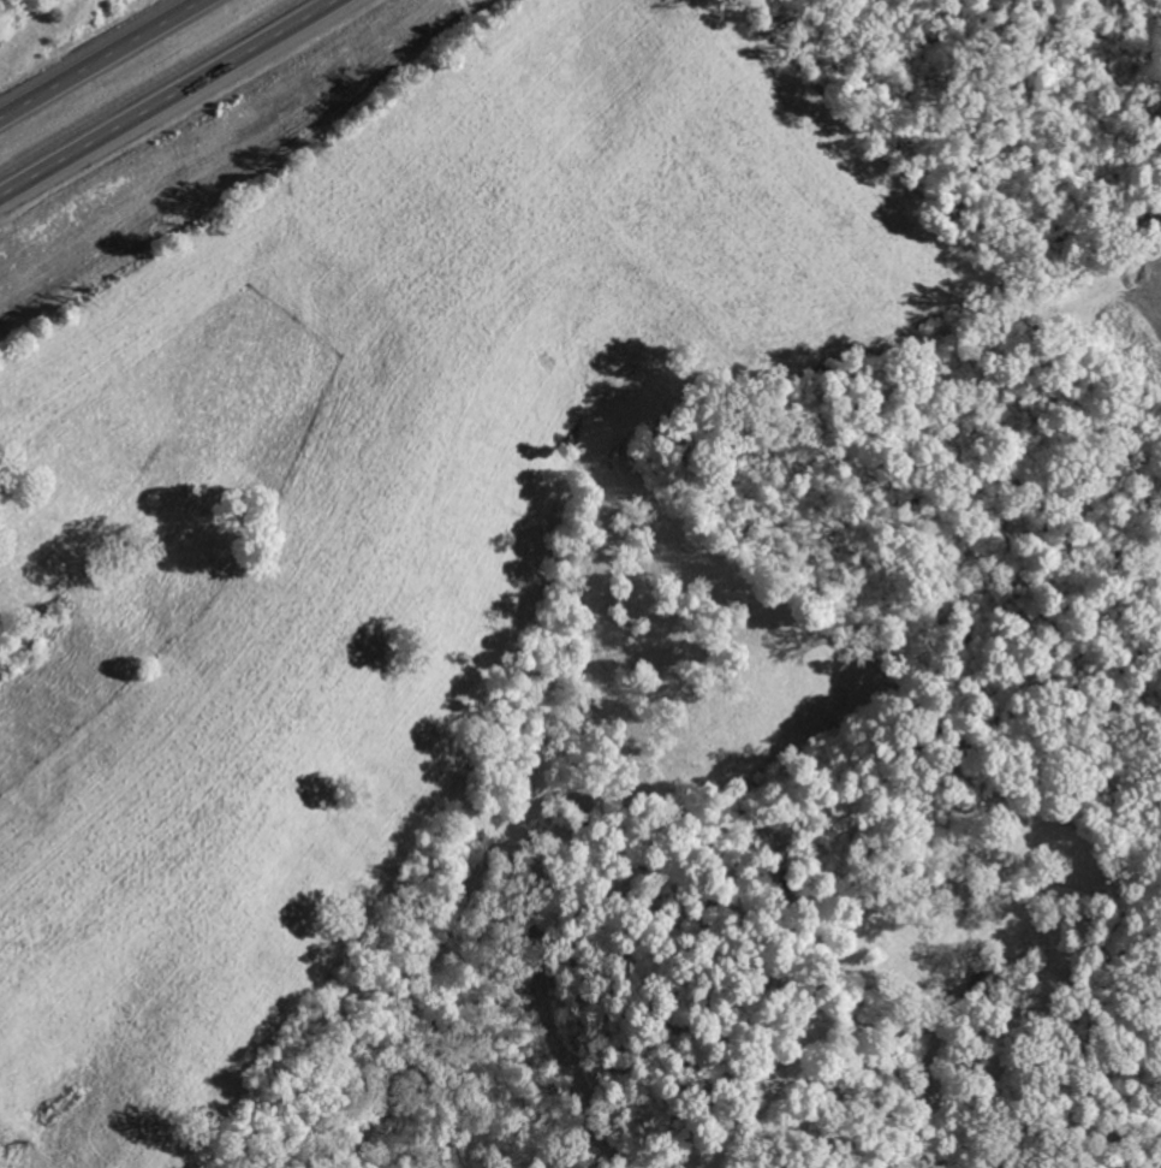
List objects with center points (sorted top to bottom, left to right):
road: (106, 61)
road: (180, 117)

